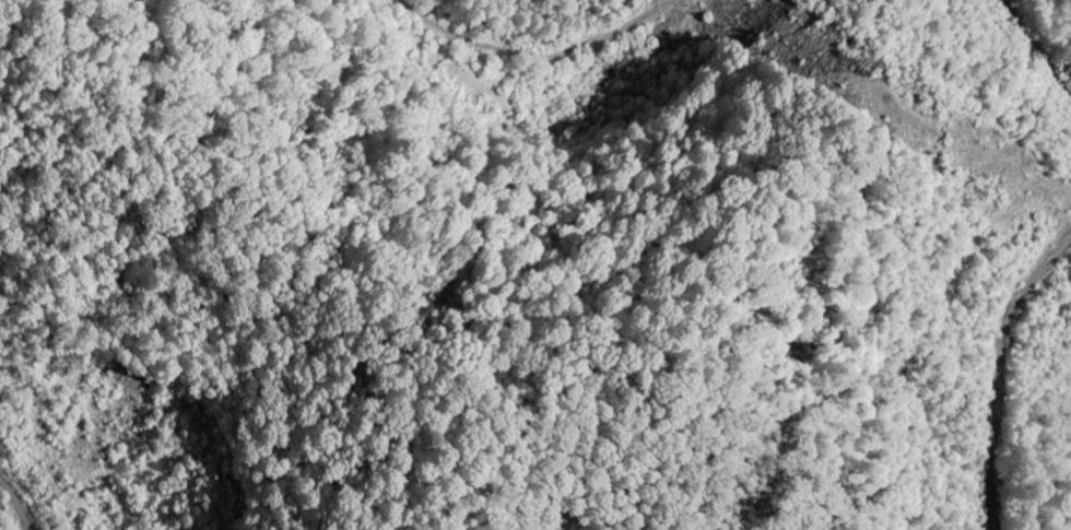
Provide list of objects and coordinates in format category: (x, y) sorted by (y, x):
road: (1014, 55)

